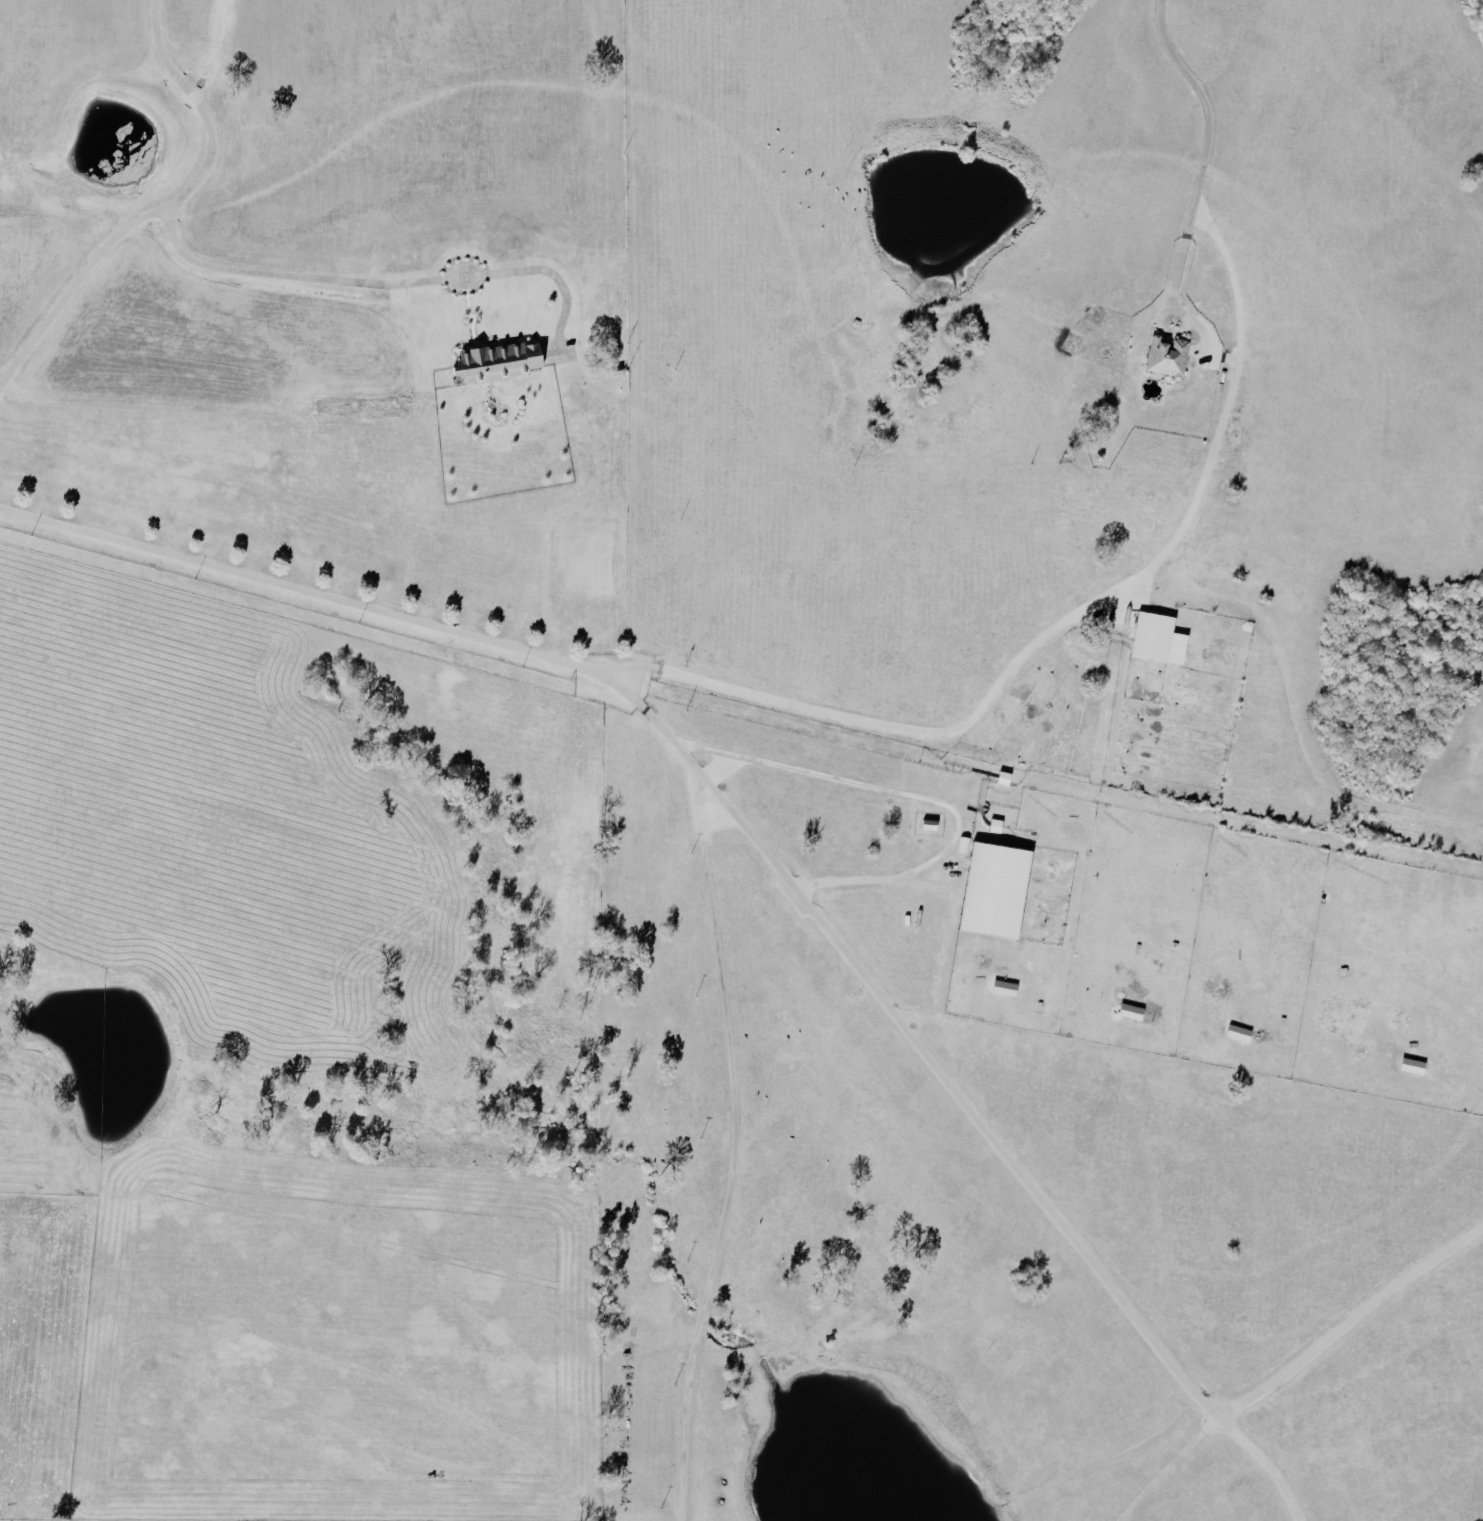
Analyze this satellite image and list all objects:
road: (171, 213)
road: (388, 283)
road: (1175, 297)
road: (1242, 325)
building: (1171, 357)
building: (1162, 640)
road: (871, 720)
road: (913, 798)
building: (1000, 889)
road: (818, 920)
building: (1008, 988)
building: (1134, 1011)
building: (1242, 1033)
building: (1416, 1066)
road: (736, 1152)

